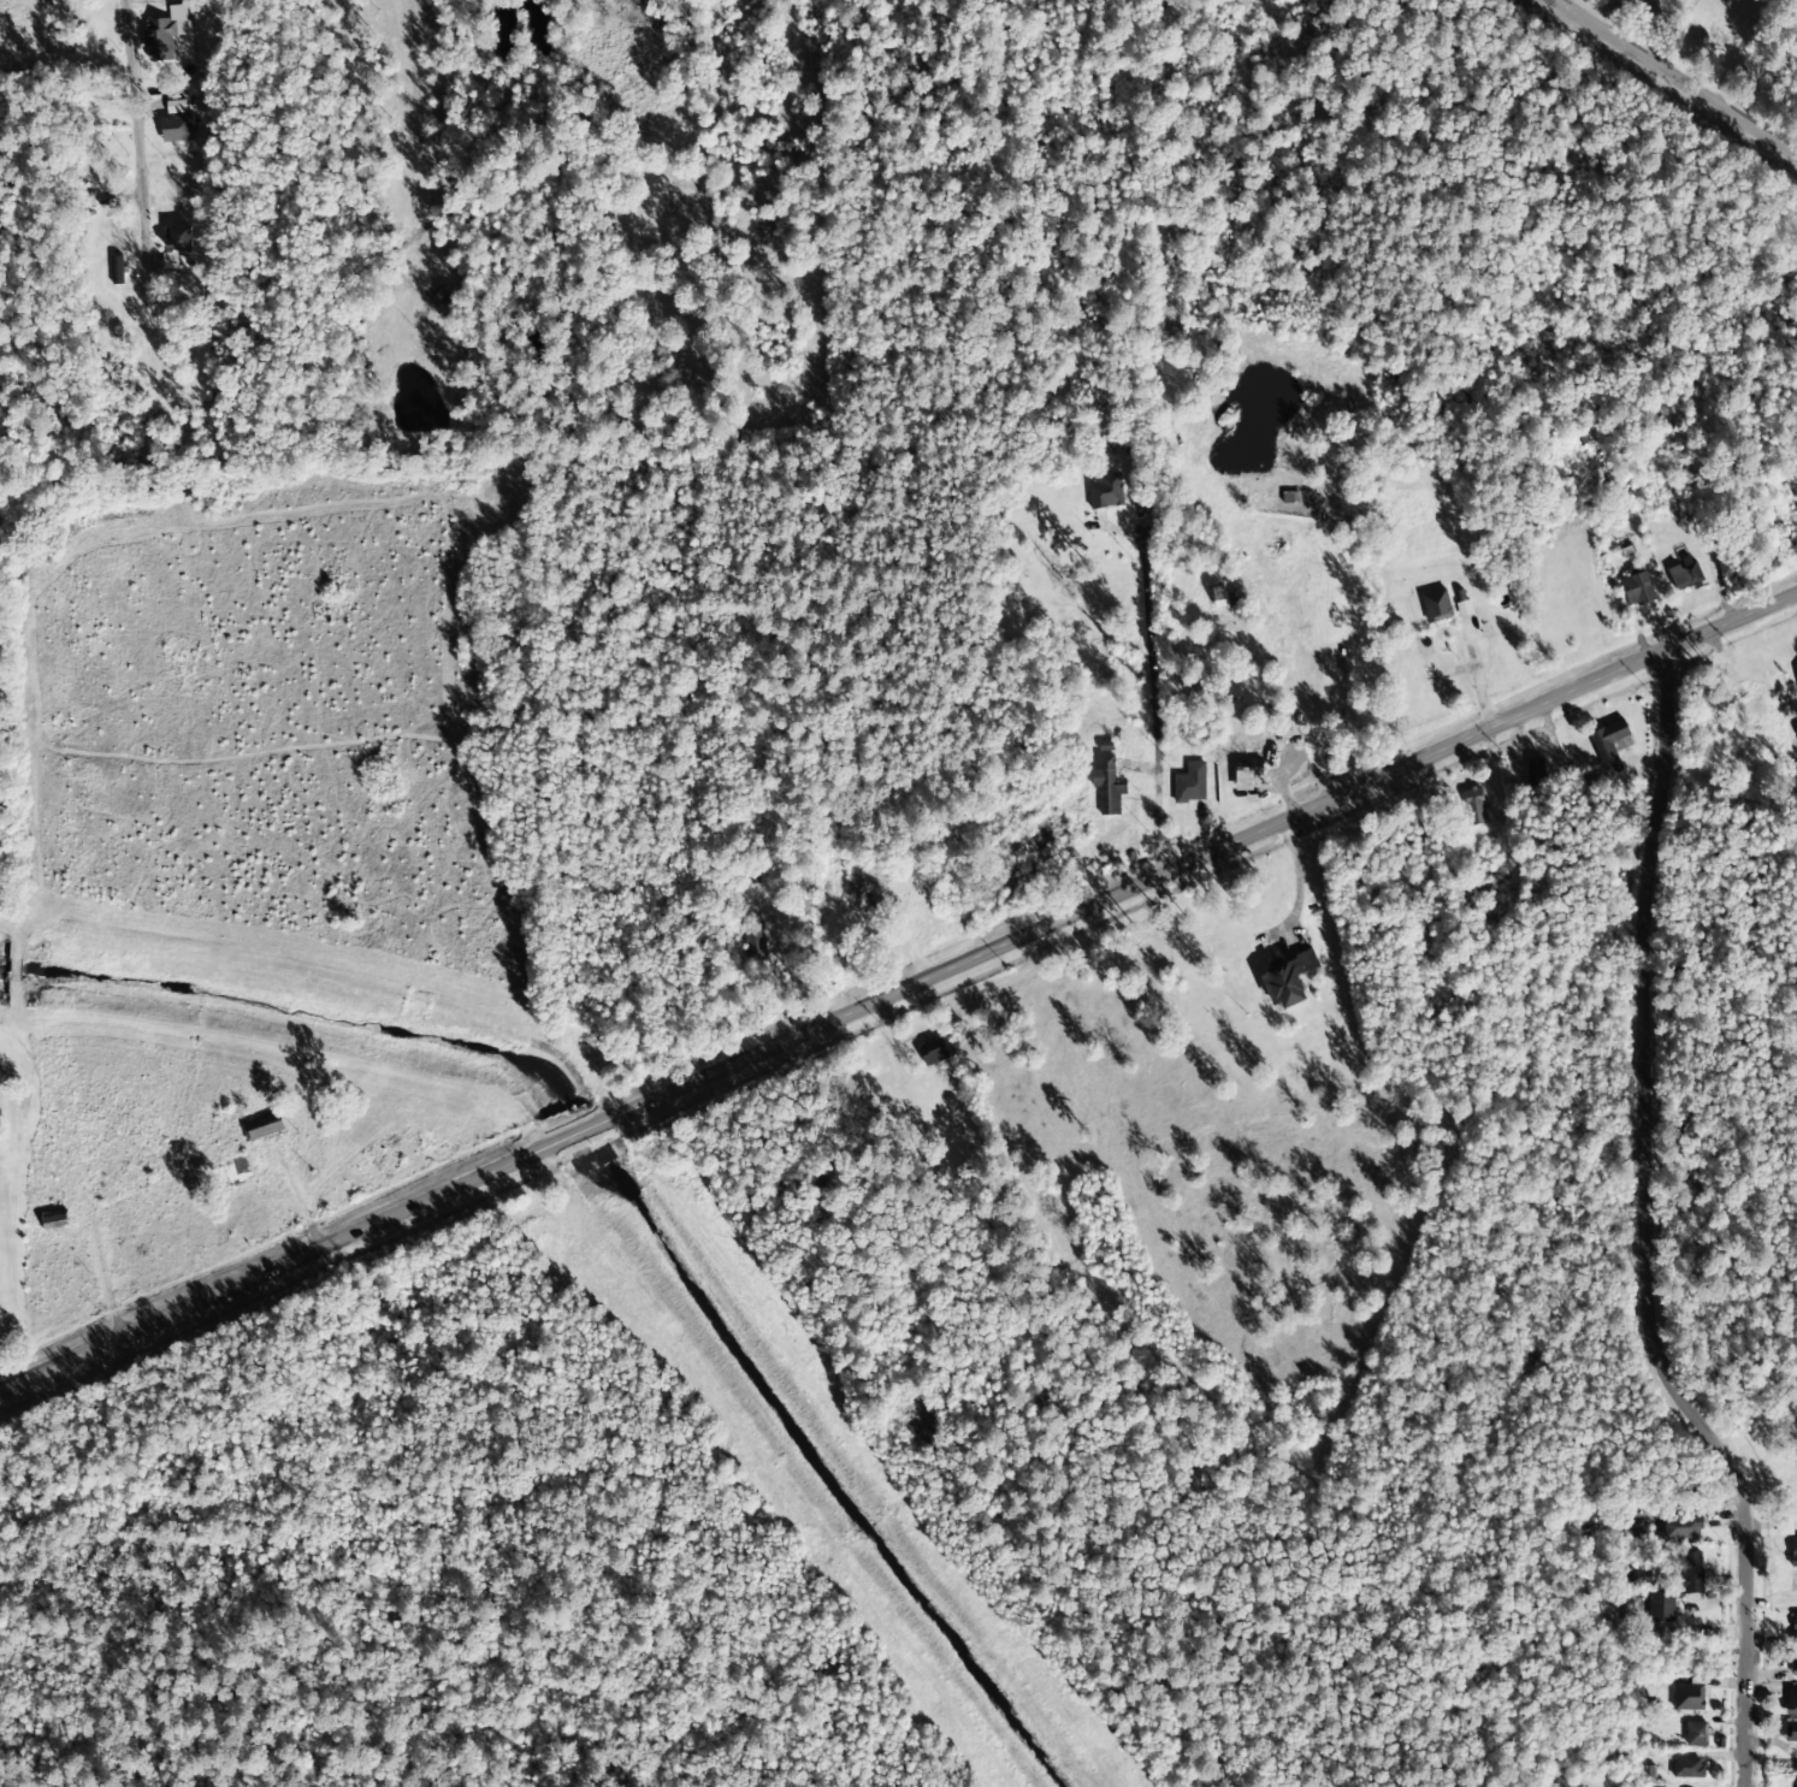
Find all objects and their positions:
building: (164, 34)
road: (1674, 77)
road: (136, 125)
building: (176, 129)
building: (177, 238)
building: (116, 270)
road: (49, 484)
building: (1104, 492)
building: (1684, 575)
building: (1636, 587)
building: (1436, 606)
building: (1796, 674)
building: (1608, 745)
building: (1247, 768)
building: (1533, 773)
building: (1189, 783)
building: (1107, 786)
building: (1473, 806)
building: (1287, 981)
road: (897, 988)
building: (933, 1051)
building: (262, 1126)
building: (55, 1223)
road: (1647, 1231)
building: (1681, 1527)
building: (1639, 1534)
building: (1793, 1551)
building: (1690, 1573)
building: (1661, 1606)
building: (1793, 1628)
building: (1793, 1665)
building: (1687, 1697)
building: (1791, 1703)
building: (1791, 1732)
building: (1695, 1734)
building: (1686, 1768)

